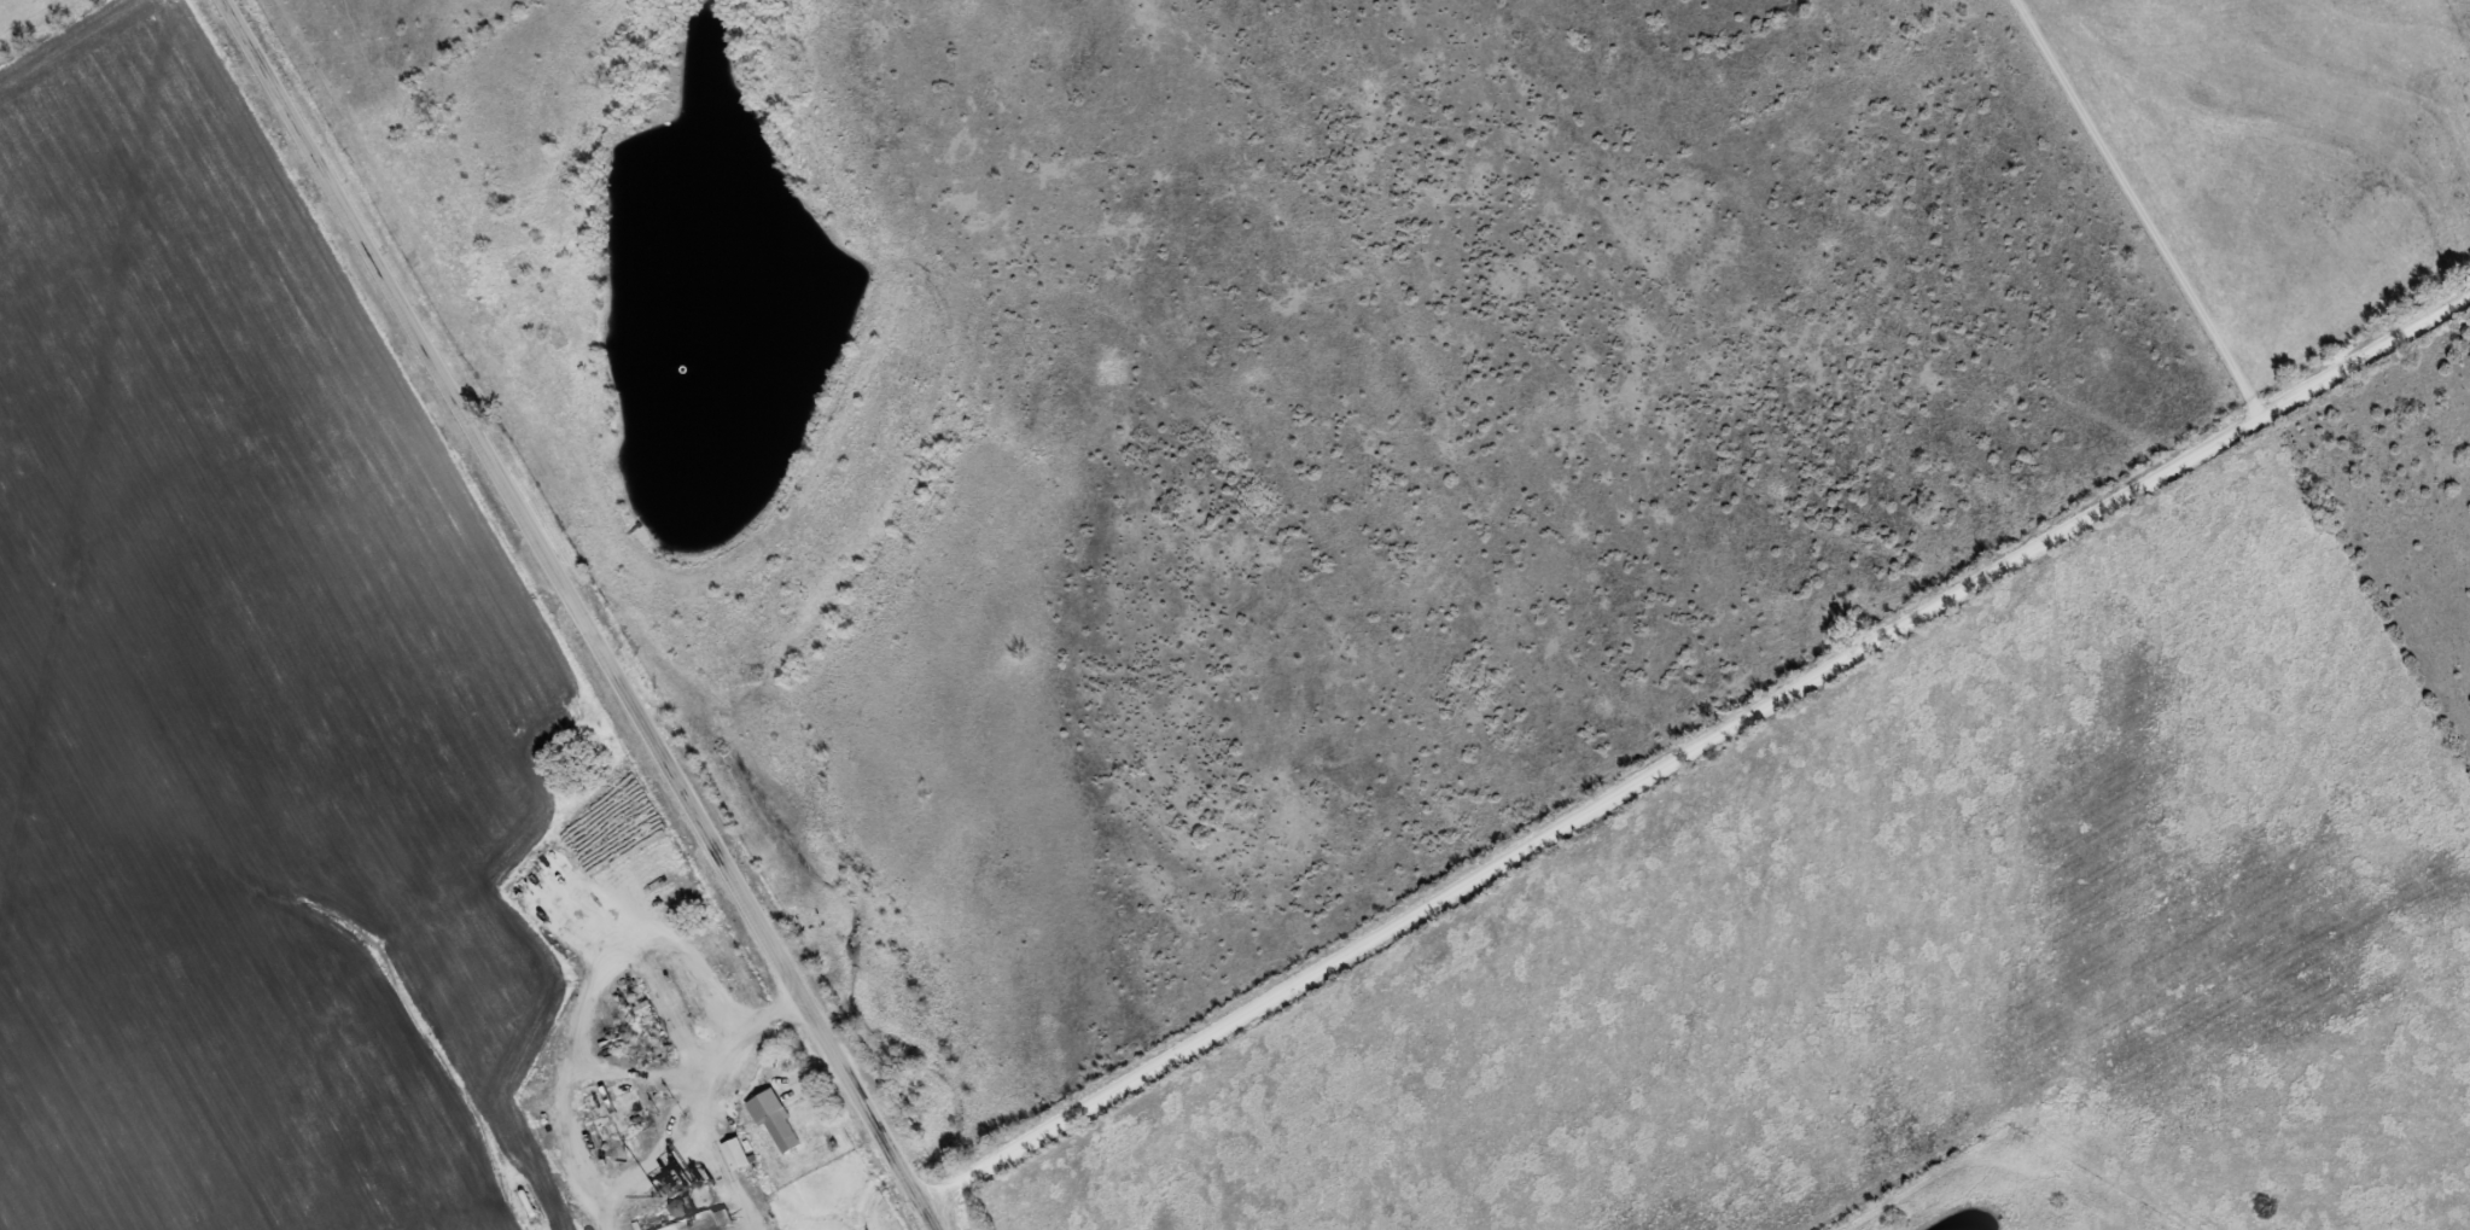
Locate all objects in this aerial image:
building: (515, 262)
road: (577, 614)
road: (1696, 747)
building: (441, 1022)
building: (775, 1120)
building: (736, 1153)
building: (693, 1218)

